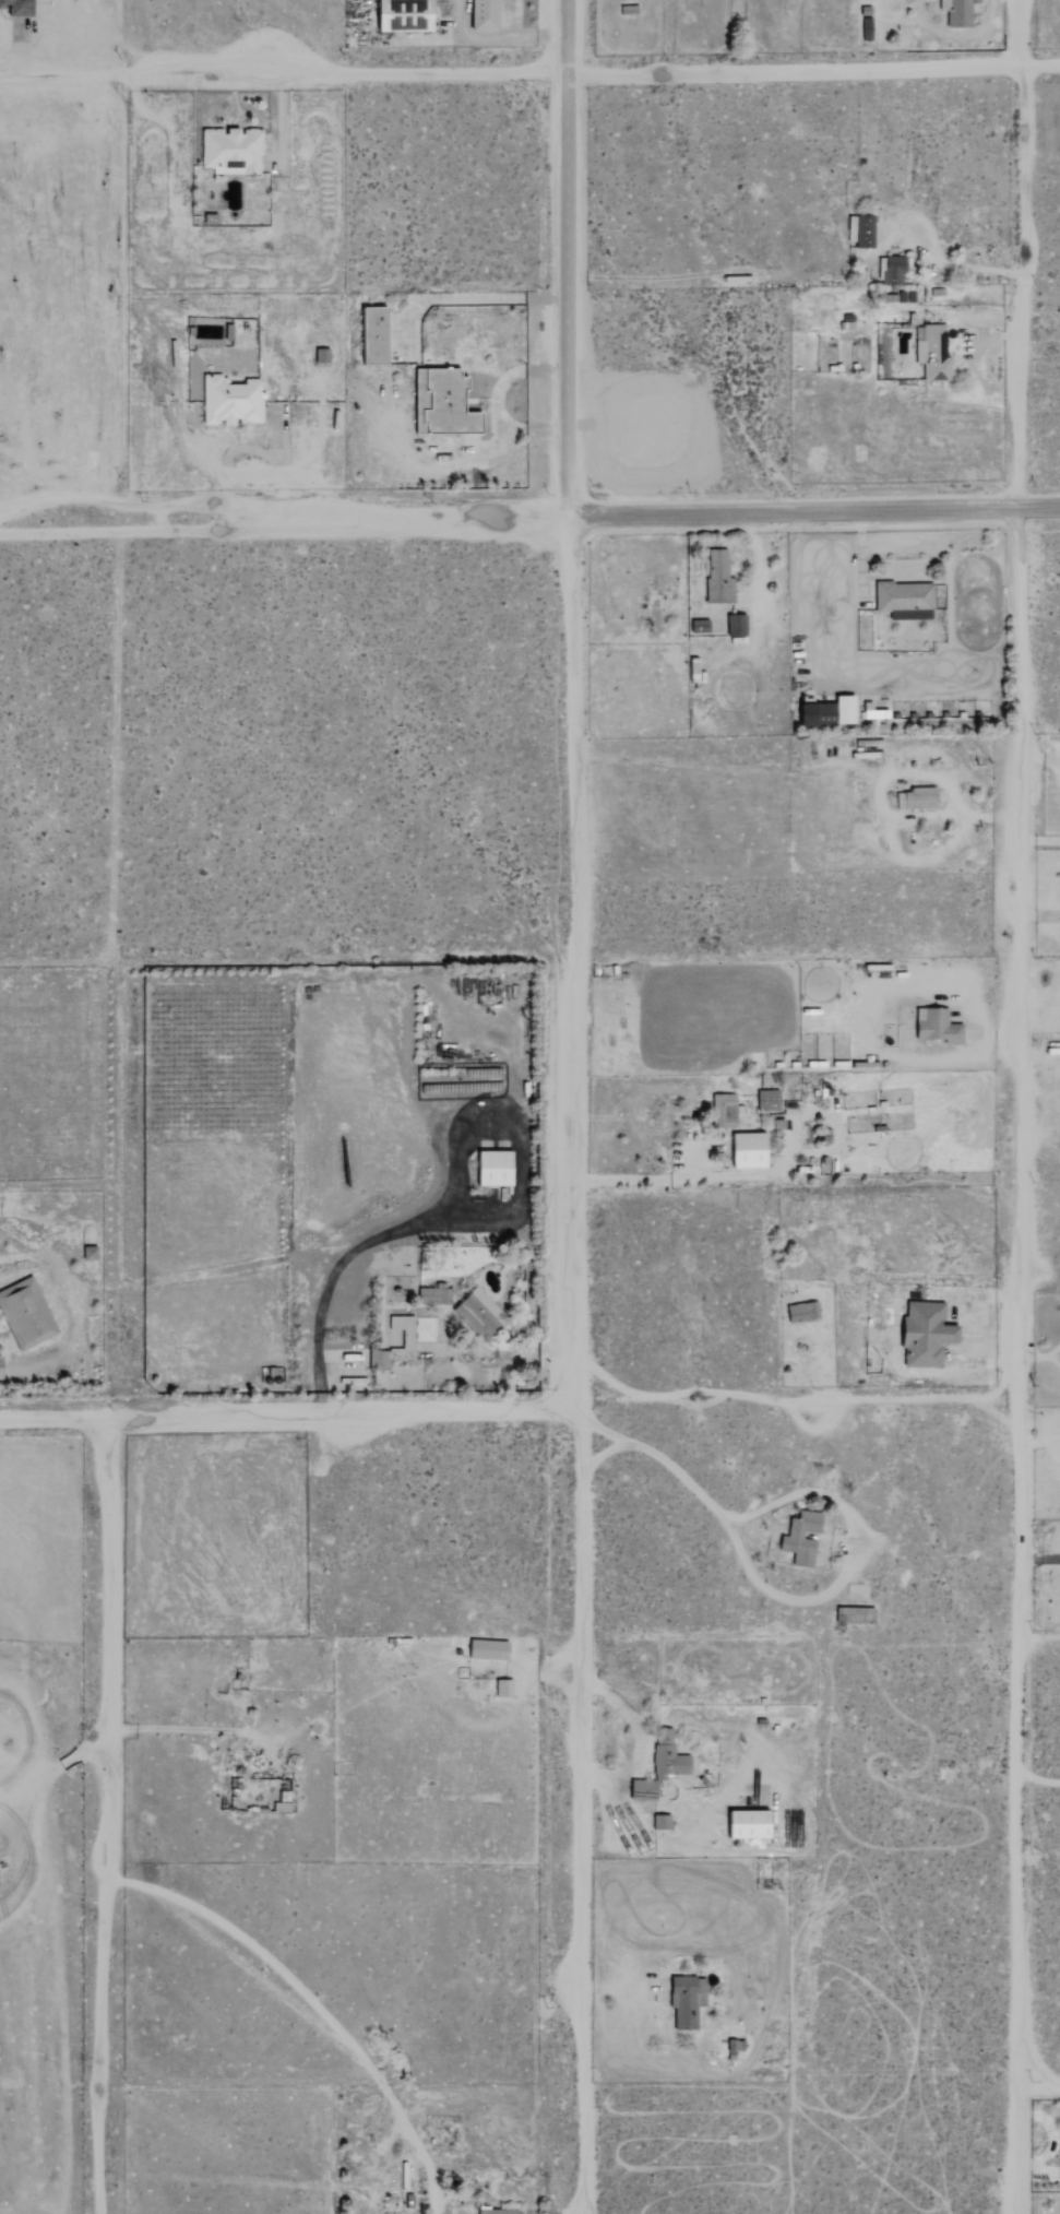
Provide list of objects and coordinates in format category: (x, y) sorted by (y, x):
building: (954, 12)
building: (398, 15)
building: (479, 15)
building: (864, 29)
road: (20, 50)
road: (813, 69)
road: (284, 76)
road: (279, 119)
building: (234, 149)
building: (857, 230)
road: (568, 257)
building: (889, 271)
building: (892, 298)
building: (378, 336)
building: (930, 354)
building: (324, 355)
building: (233, 401)
building: (446, 403)
road: (529, 513)
building: (716, 578)
building: (902, 600)
building: (734, 625)
building: (696, 626)
building: (691, 671)
building: (811, 713)
building: (914, 798)
road: (1036, 839)
building: (933, 1026)
building: (764, 1100)
road: (1012, 1106)
building: (720, 1110)
building: (745, 1149)
building: (489, 1169)
road: (760, 1175)
building: (85, 1253)
building: (431, 1294)
building: (799, 1312)
building: (476, 1313)
building: (23, 1314)
building: (402, 1331)
building: (921, 1334)
road: (573, 1364)
building: (380, 1377)
road: (790, 1399)
road: (286, 1417)
road: (597, 1455)
road: (812, 1492)
building: (798, 1538)
building: (485, 1649)
building: (500, 1688)
building: (665, 1755)
road: (55, 1769)
road: (104, 1816)
building: (658, 1822)
building: (742, 1824)
road: (312, 2001)
building: (683, 2001)
road: (1036, 2087)
building: (493, 2212)

